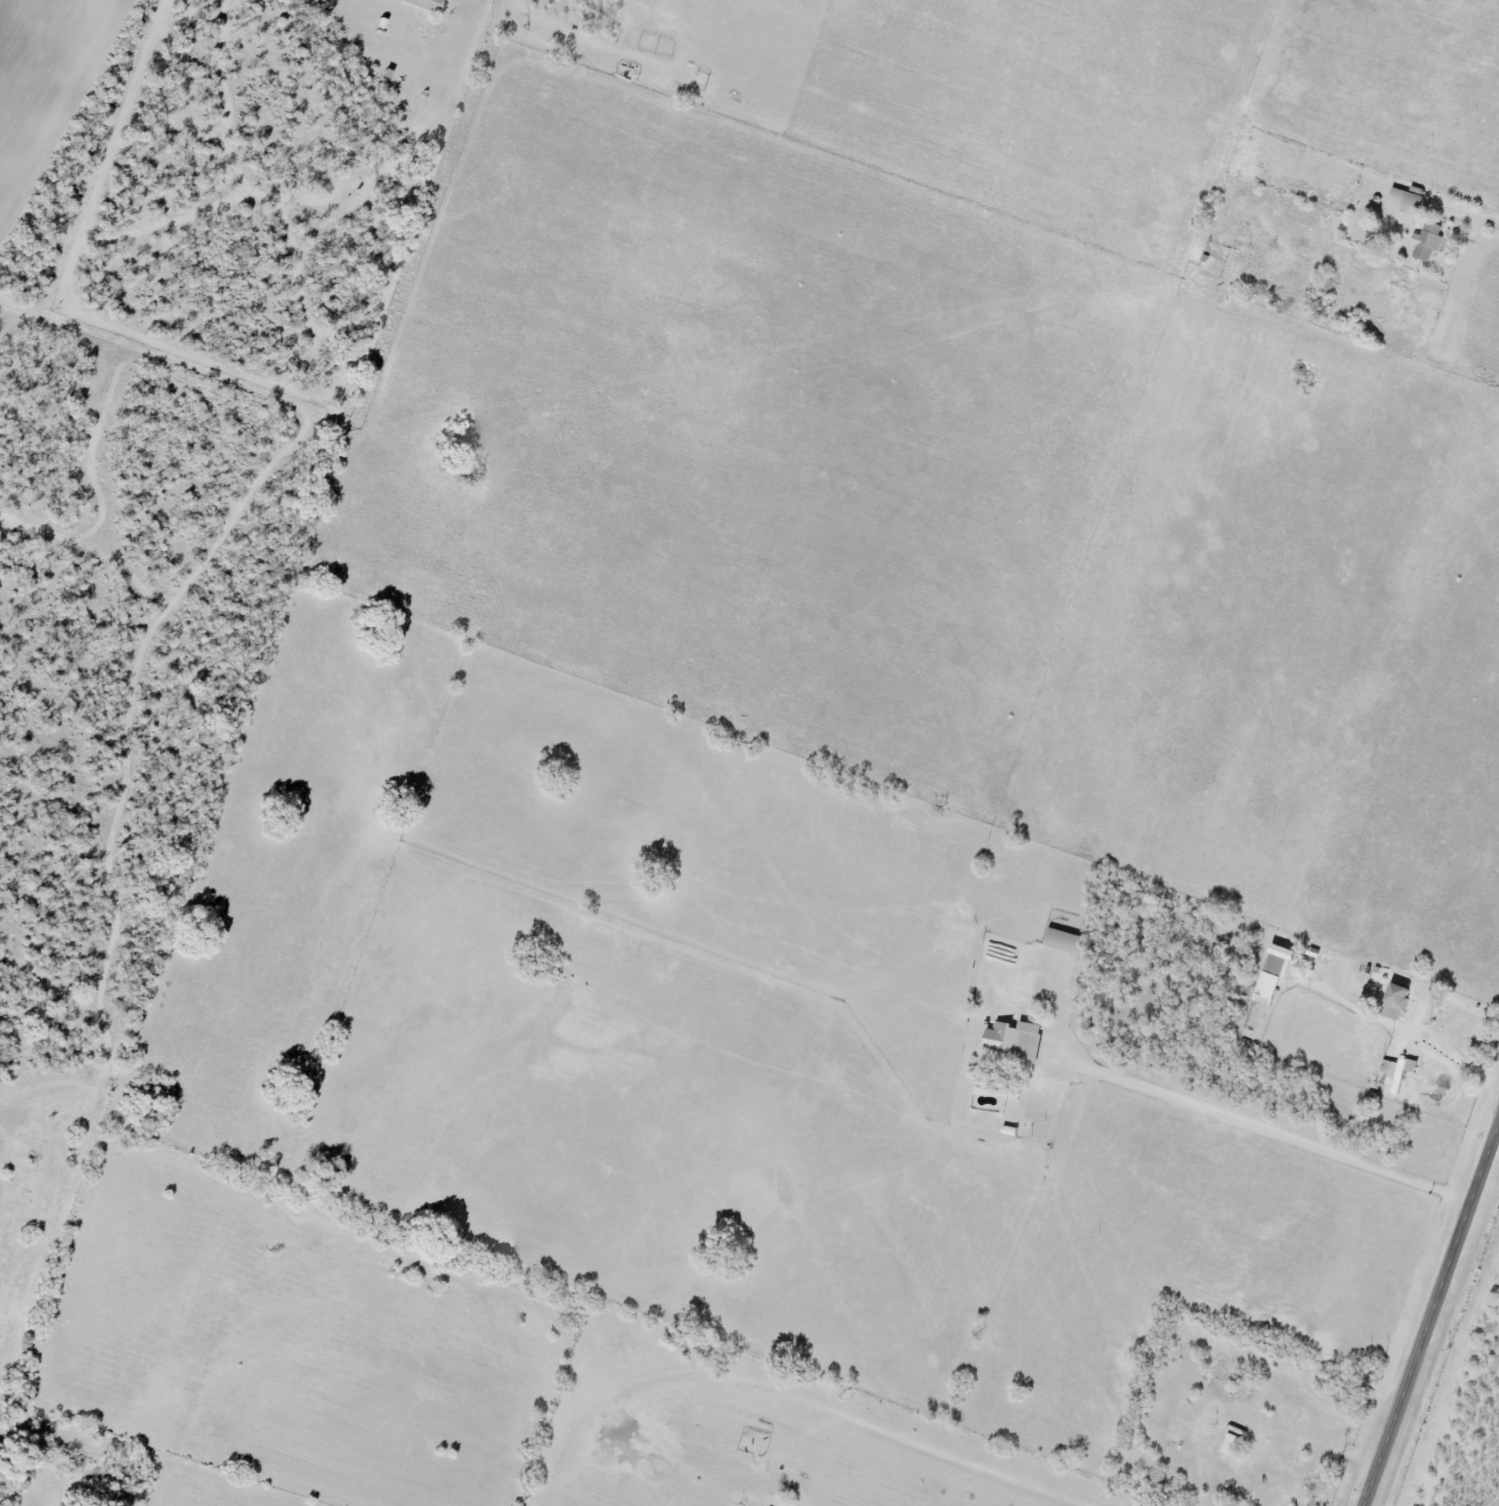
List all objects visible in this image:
building: (427, 4)
building: (1405, 200)
road: (1486, 219)
building: (1428, 241)
building: (1064, 940)
building: (1397, 1001)
road: (1354, 1012)
road: (1411, 1025)
building: (1015, 1041)
building: (1398, 1071)
road: (1261, 1126)
road: (1428, 1309)
building: (1233, 1445)

